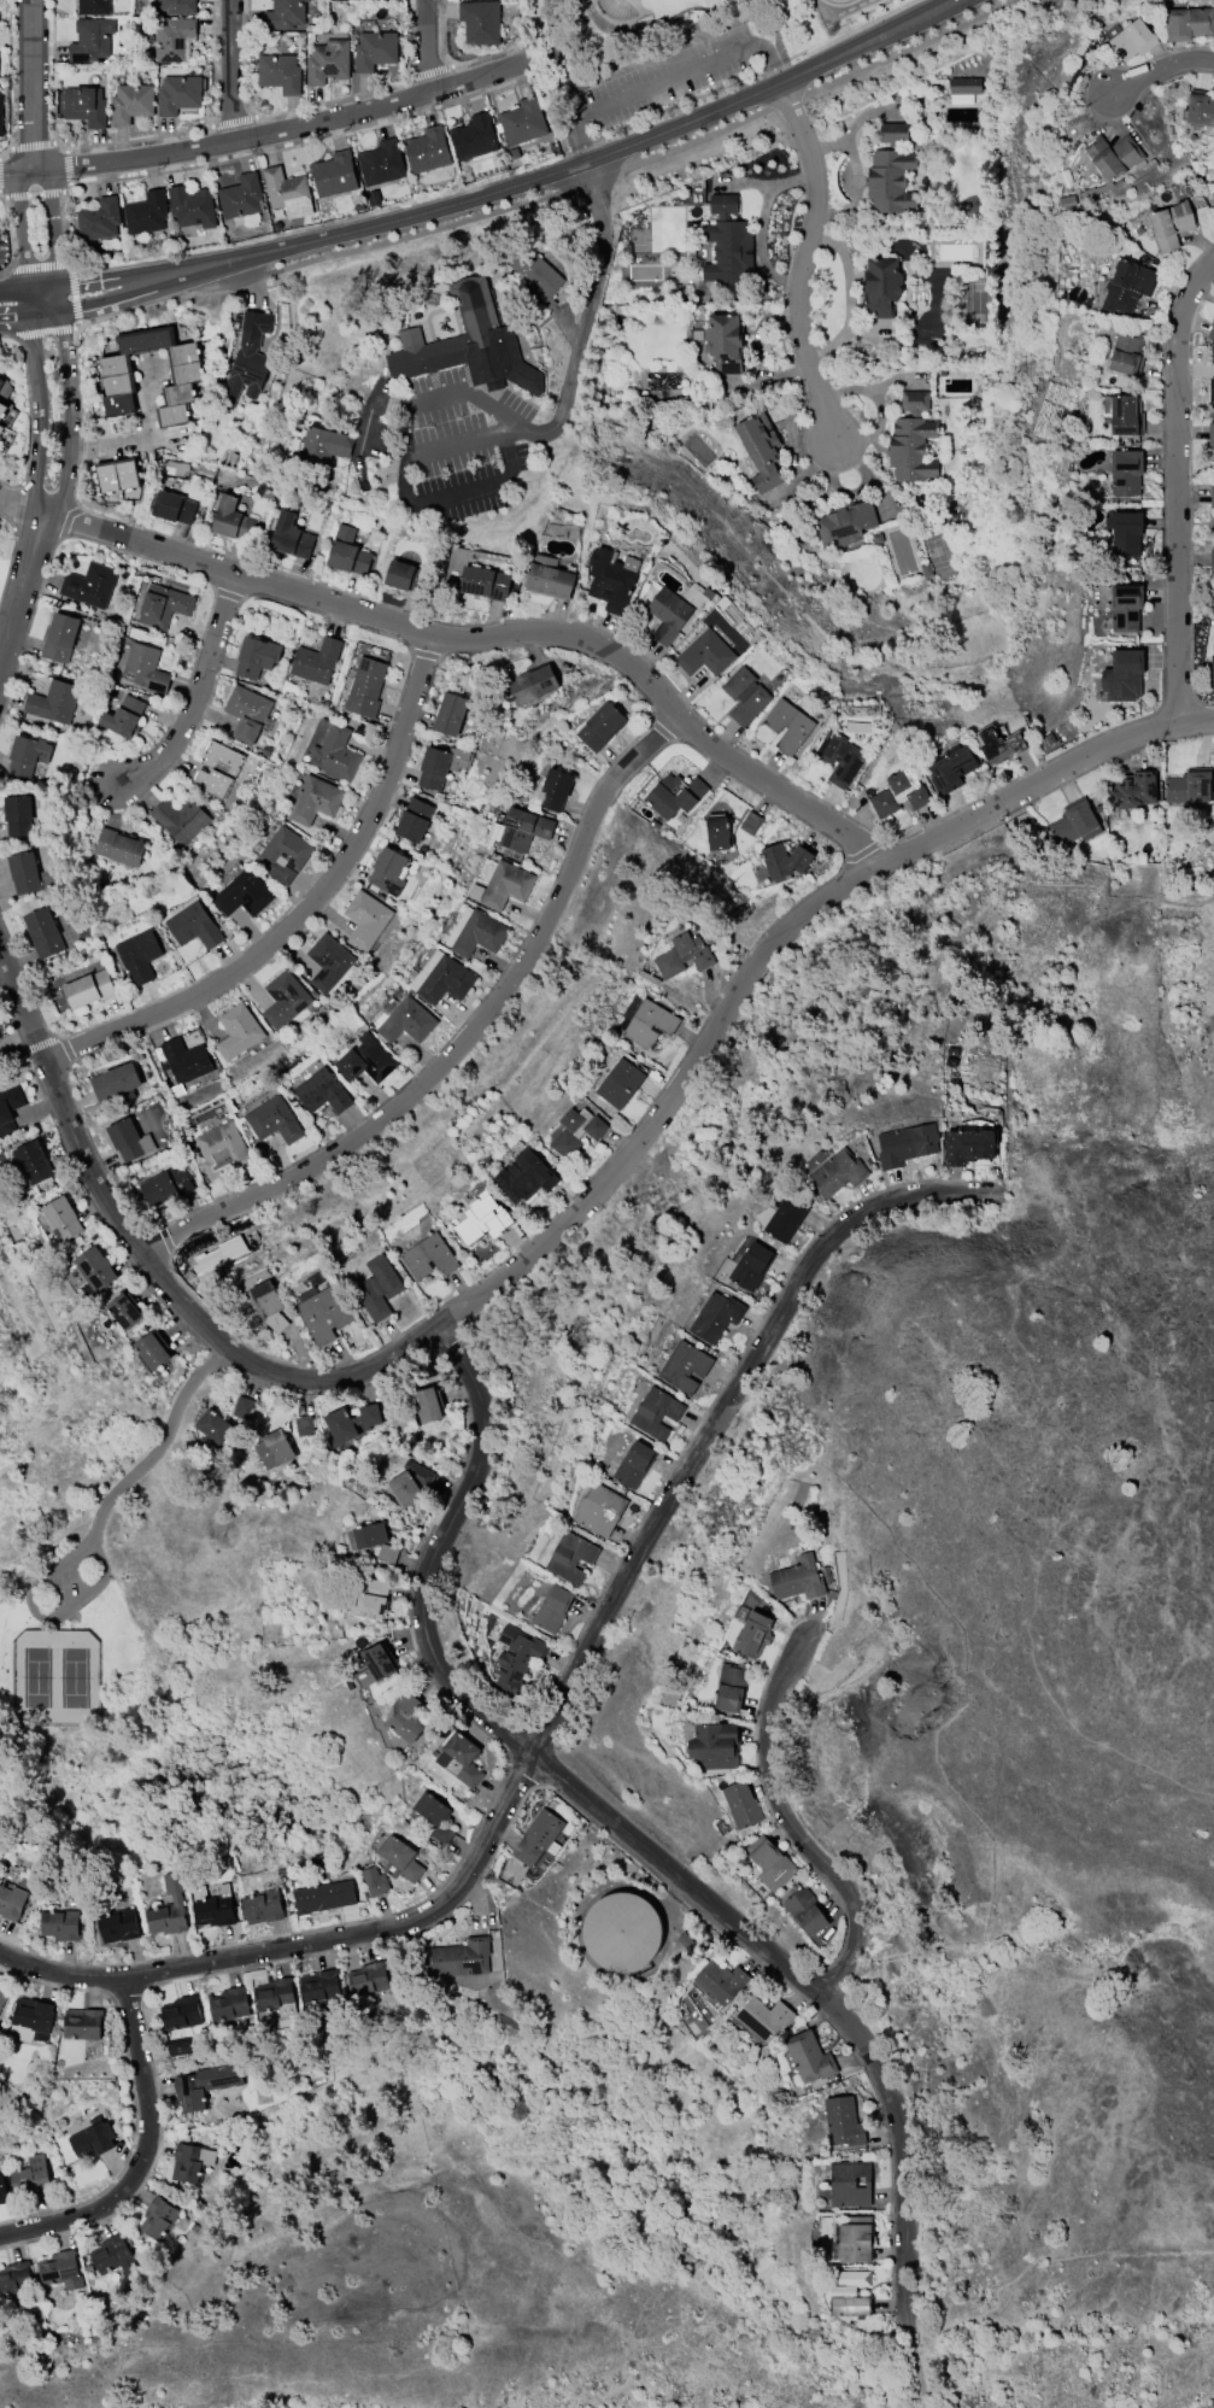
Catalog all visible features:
building: (93, 6)
building: (176, 6)
park: (640, 8)
building: (285, 14)
building: (480, 22)
building: (1189, 22)
road: (652, 25)
building: (172, 39)
building: (1133, 39)
building: (90, 40)
road: (430, 43)
building: (375, 49)
park: (661, 55)
road: (559, 59)
building: (328, 61)
road: (1157, 68)
road: (229, 69)
parking lot: (667, 71)
building: (280, 72)
road: (665, 81)
road: (30, 84)
building: (962, 88)
building: (177, 94)
building: (131, 102)
building: (86, 106)
building: (1201, 107)
building: (0, 116)
building: (522, 121)
road: (262, 129)
building: (474, 136)
building: (427, 150)
building: (1113, 156)
building: (381, 163)
road: (612, 171)
building: (891, 172)
building: (334, 174)
road: (512, 186)
building: (287, 191)
building: (240, 195)
building: (192, 206)
building: (146, 212)
building: (99, 218)
building: (1171, 223)
building: (726, 241)
road: (804, 260)
building: (534, 274)
building: (881, 286)
building: (1127, 286)
road: (23, 305)
road: (583, 311)
building: (1210, 329)
building: (725, 342)
building: (468, 345)
building: (1126, 352)
building: (247, 358)
building: (184, 368)
building: (1, 381)
building: (1212, 391)
road: (475, 396)
building: (2, 408)
road: (373, 409)
road: (53, 414)
building: (1124, 414)
road: (407, 422)
building: (1, 427)
road: (516, 430)
building: (1210, 433)
road: (130, 439)
building: (911, 440)
building: (324, 443)
road: (454, 443)
building: (760, 449)
building: (1126, 470)
building: (117, 474)
road: (1175, 486)
road: (457, 493)
building: (1212, 496)
building: (174, 506)
road: (19, 508)
building: (233, 518)
building: (846, 523)
building: (1124, 532)
building: (291, 535)
building: (347, 552)
building: (1212, 559)
building: (407, 576)
building: (550, 576)
building: (609, 580)
building: (486, 582)
building: (88, 584)
building: (163, 605)
building: (1125, 607)
building: (668, 614)
road: (492, 637)
building: (59, 638)
building: (704, 654)
building: (256, 656)
building: (316, 661)
building: (1213, 666)
building: (143, 667)
building: (1122, 675)
building: (530, 684)
building: (365, 686)
building: (744, 695)
road: (200, 696)
building: (53, 701)
building: (247, 713)
building: (450, 713)
building: (123, 715)
building: (787, 725)
building: (600, 726)
building: (998, 745)
building: (335, 752)
building: (28, 754)
building: (839, 756)
building: (439, 764)
building: (950, 767)
building: (217, 768)
building: (1187, 787)
building: (555, 789)
building: (898, 791)
building: (1133, 791)
building: (674, 795)
building: (315, 799)
building: (17, 815)
building: (178, 818)
building: (414, 820)
building: (750, 821)
building: (1074, 822)
building: (524, 828)
building: (717, 833)
building: (118, 846)
building: (283, 855)
building: (785, 860)
building: (387, 871)
building: (23, 872)
building: (505, 885)
building: (242, 894)
road: (306, 910)
building: (365, 919)
building: (193, 925)
building: (42, 932)
building: (475, 932)
building: (137, 955)
building: (684, 955)
building: (328, 961)
building: (441, 978)
building: (89, 988)
building: (283, 998)
building: (407, 1020)
building: (649, 1023)
building: (236, 1031)
road: (464, 1038)
building: (184, 1059)
building: (366, 1059)
building: (618, 1078)
building: (115, 1082)
building: (318, 1088)
building: (8, 1107)
building: (274, 1119)
building: (576, 1130)
building: (129, 1139)
building: (905, 1144)
building: (967, 1146)
building: (223, 1150)
building: (33, 1161)
building: (837, 1172)
building: (524, 1177)
building: (166, 1184)
building: (61, 1217)
building: (785, 1217)
building: (482, 1218)
road: (555, 1230)
building: (428, 1256)
building: (751, 1265)
building: (95, 1269)
building: (377, 1287)
building: (269, 1305)
building: (125, 1310)
building: (323, 1313)
building: (715, 1317)
building: (153, 1349)
building: (685, 1366)
building: (428, 1405)
building: (244, 1407)
building: (656, 1412)
building: (351, 1422)
building: (215, 1425)
building: (303, 1425)
road: (159, 1446)
building: (272, 1448)
building: (633, 1464)
building: (420, 1472)
building: (405, 1488)
building: (599, 1508)
building: (370, 1534)
building: (387, 1553)
building: (570, 1557)
building: (797, 1578)
parking lot: (66, 1586)
building: (371, 1600)
building: (552, 1609)
road: (46, 1617)
building: (752, 1634)
building: (516, 1657)
building: (380, 1660)
park: (54, 1678)
building: (731, 1688)
road: (564, 1692)
building: (406, 1717)
building: (715, 1745)
building: (461, 1759)
building: (741, 1804)
building: (434, 1816)
road: (793, 1826)
road: (624, 1833)
building: (536, 1836)
building: (399, 1858)
building: (770, 1862)
building: (375, 1881)
building: (324, 1897)
building: (13, 1898)
building: (169, 1905)
building: (212, 1905)
building: (262, 1905)
building: (807, 1911)
building: (59, 1923)
building: (118, 1926)
building: (621, 1932)
building: (458, 1957)
building: (369, 1978)
building: (721, 1981)
building: (319, 1986)
building: (1, 1994)
building: (275, 1996)
building: (228, 2003)
building: (181, 2012)
building: (34, 2016)
building: (764, 2017)
building: (82, 2022)
building: (180, 2047)
building: (809, 2057)
building: (203, 2085)
building: (843, 2120)
building: (92, 2137)
road: (148, 2158)
building: (190, 2161)
building: (30, 2175)
building: (850, 2184)
building: (2, 2192)
building: (158, 2217)
building: (851, 2238)
building: (113, 2255)
building: (60, 2269)
building: (14, 2278)
building: (850, 2292)
road: (914, 2368)

